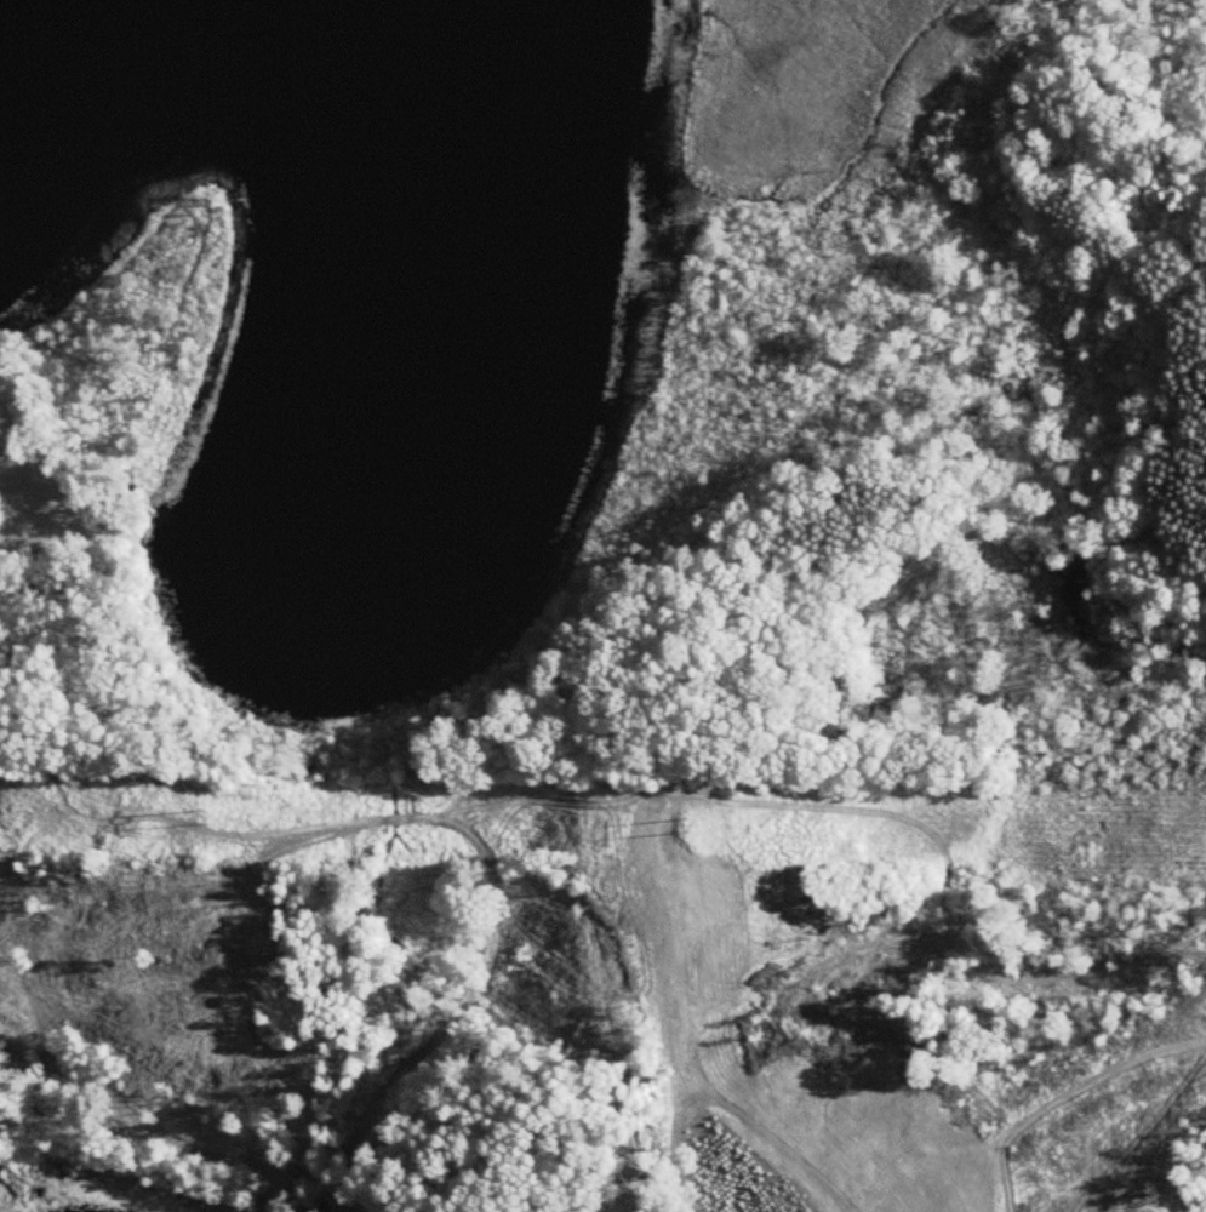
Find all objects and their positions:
power tower: (202, 814)
power tower: (693, 828)

